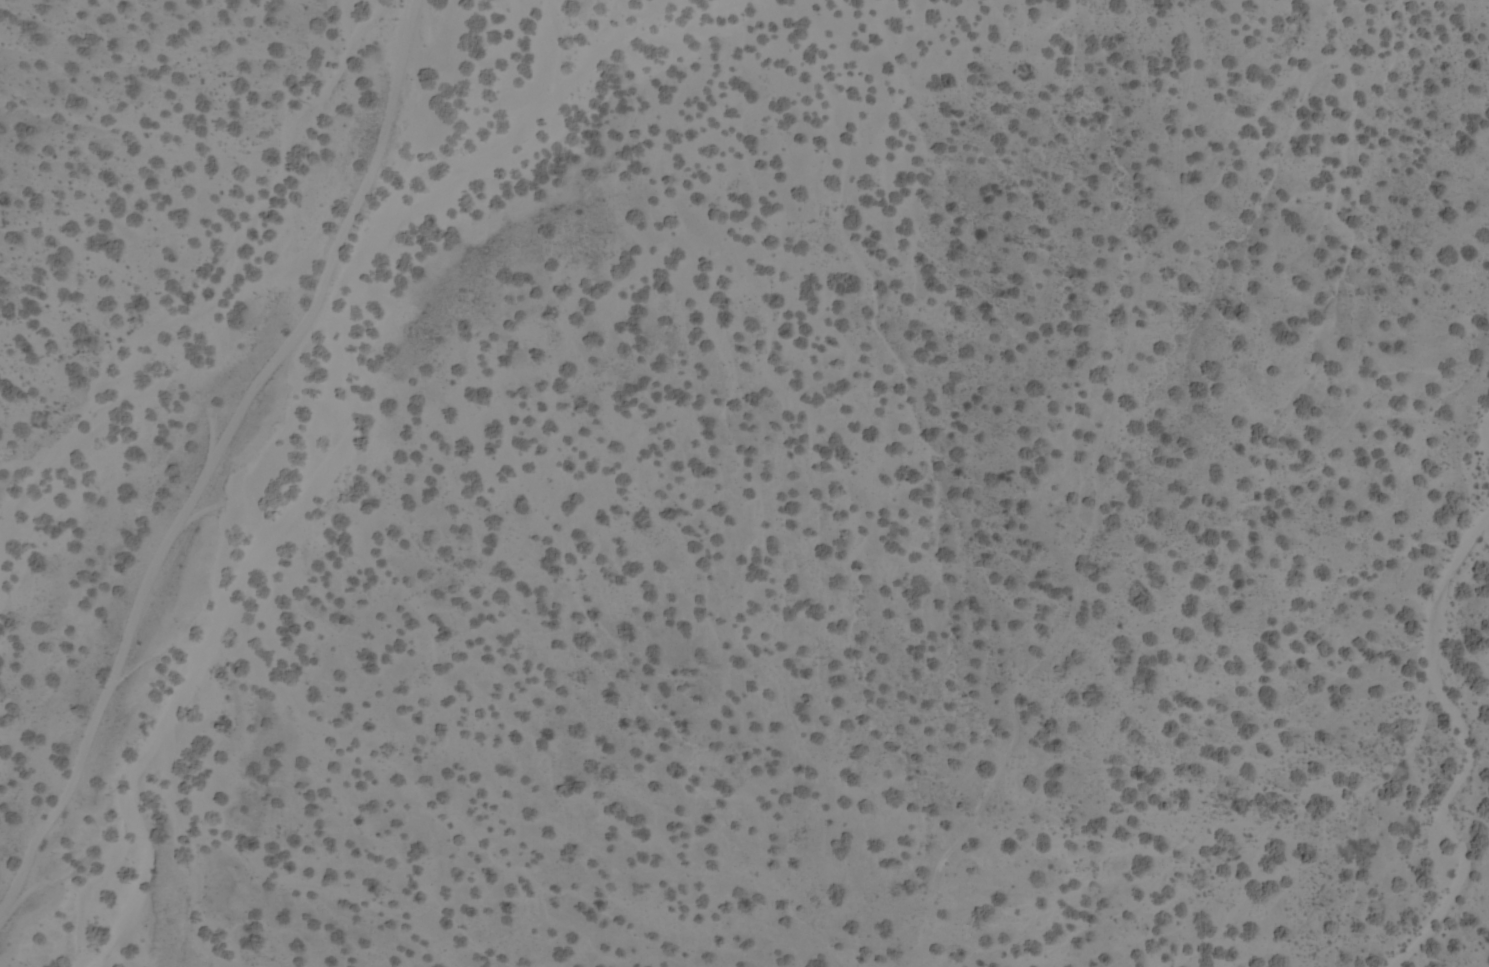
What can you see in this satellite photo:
road: (211, 458)

